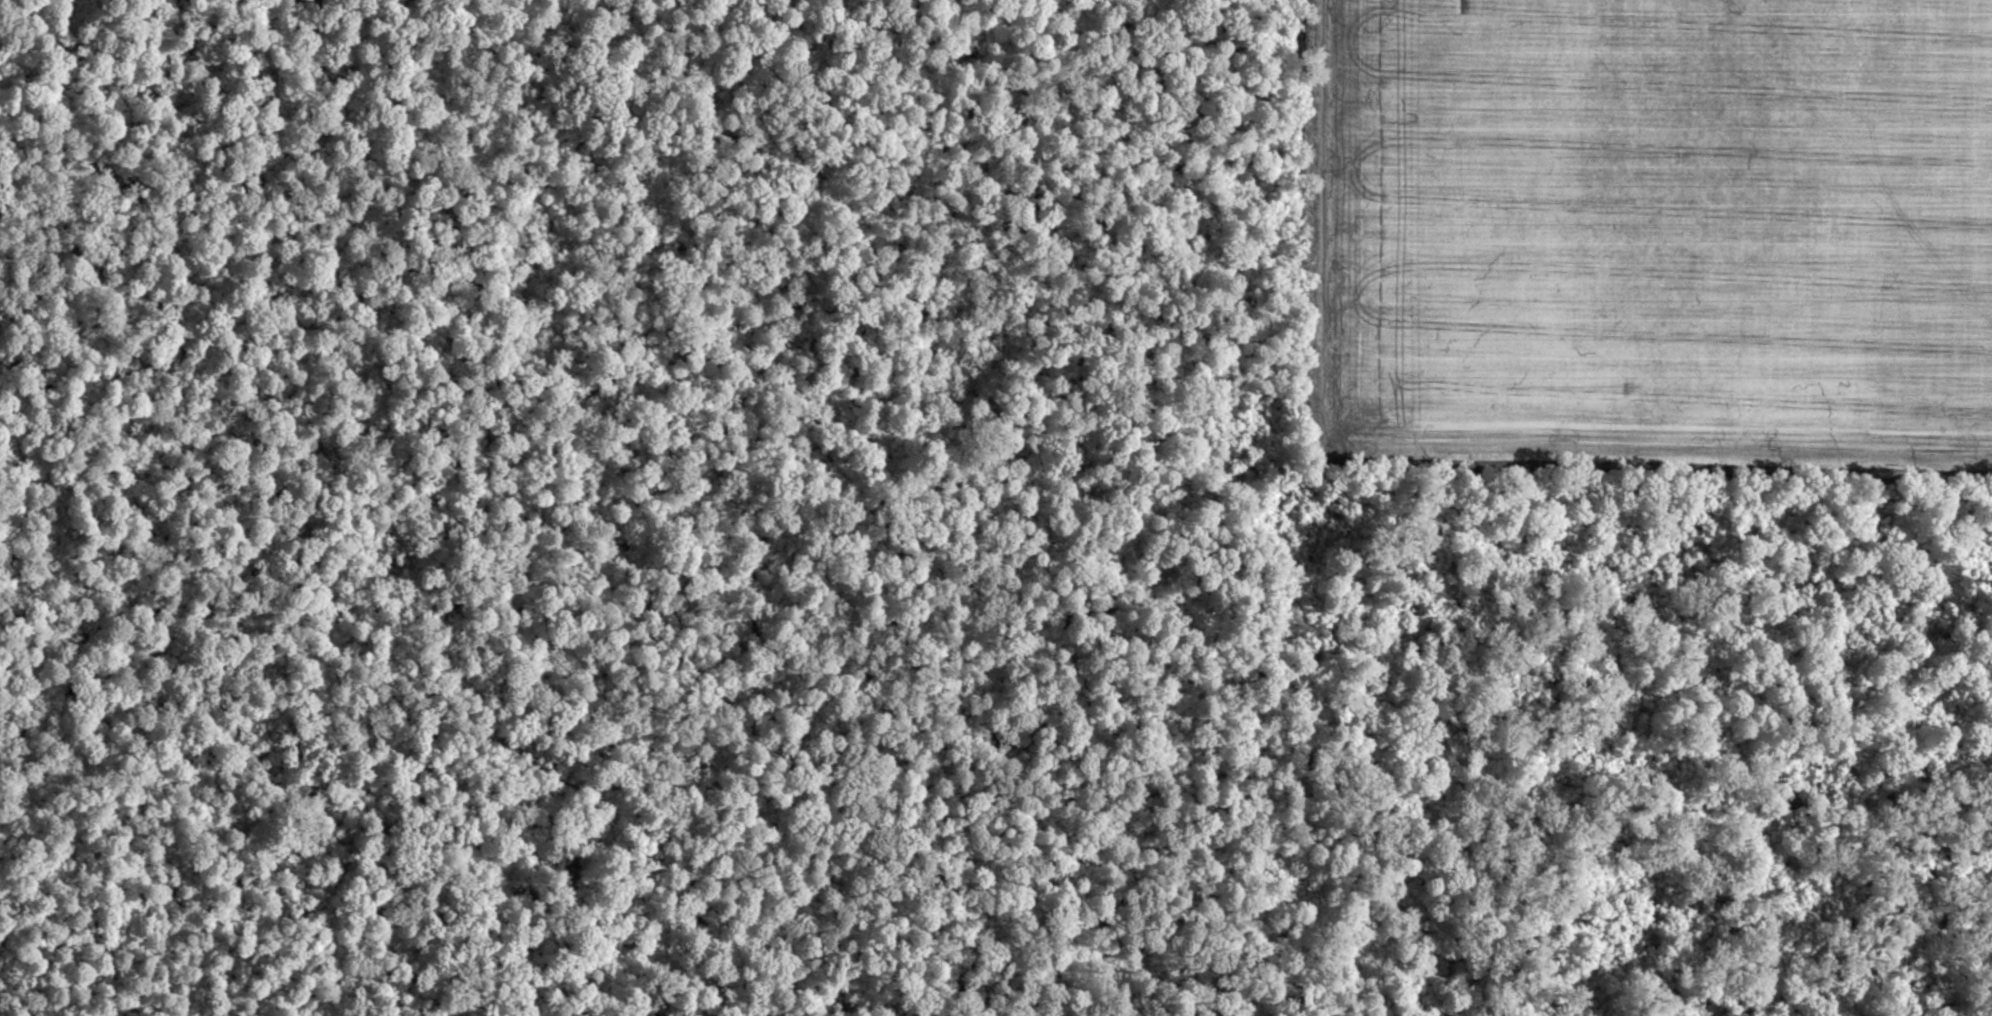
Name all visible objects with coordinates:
park: (864, 563)

